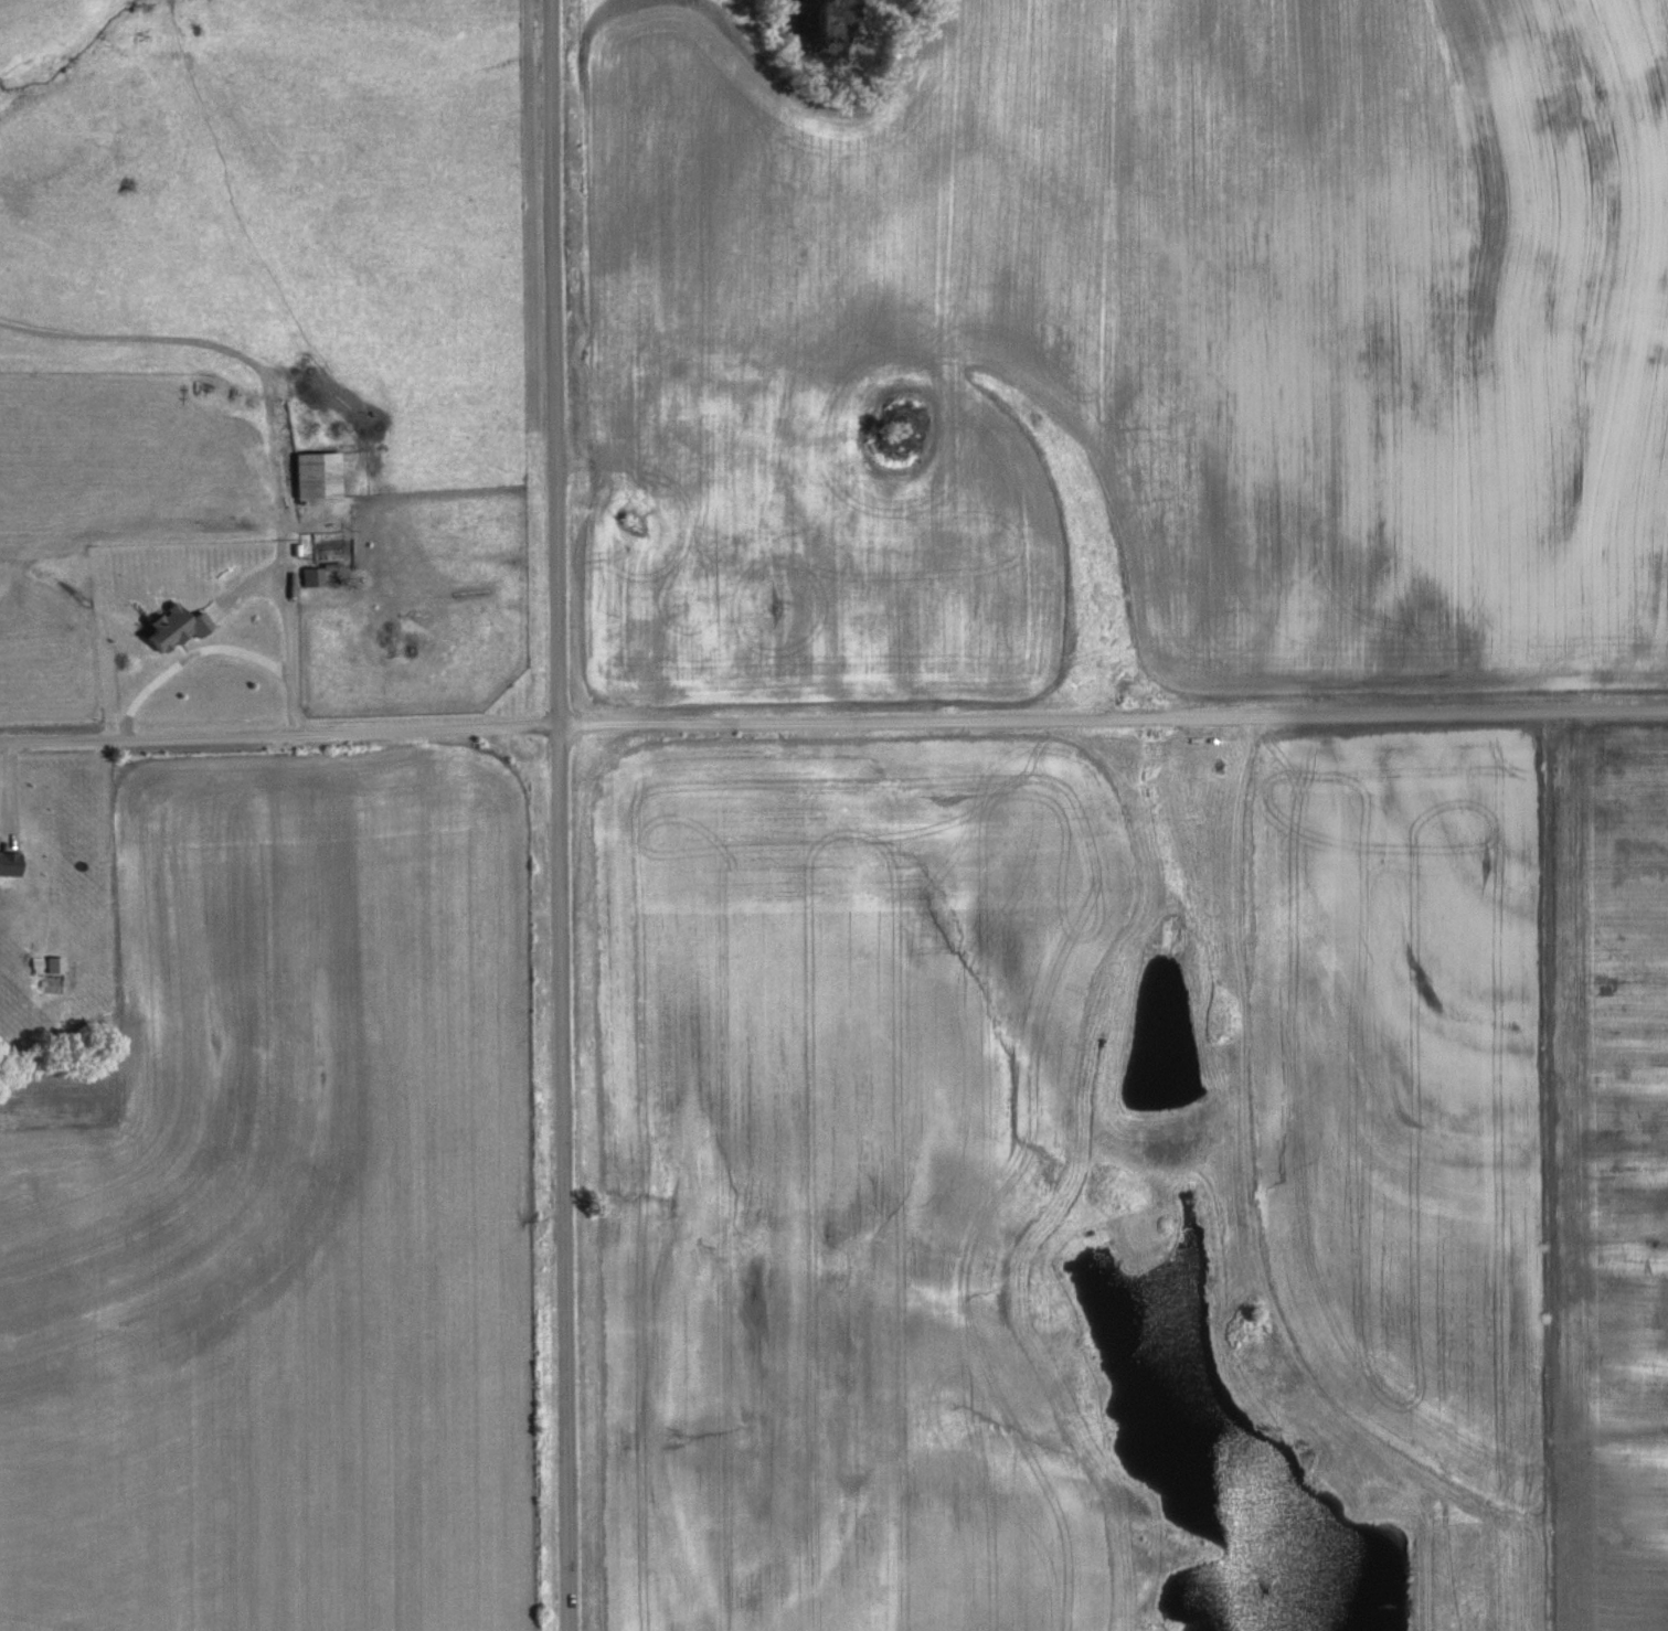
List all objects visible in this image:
building: (640, 409)
road: (285, 413)
building: (315, 473)
building: (310, 575)
road: (833, 721)
road: (561, 814)
building: (9, 863)

